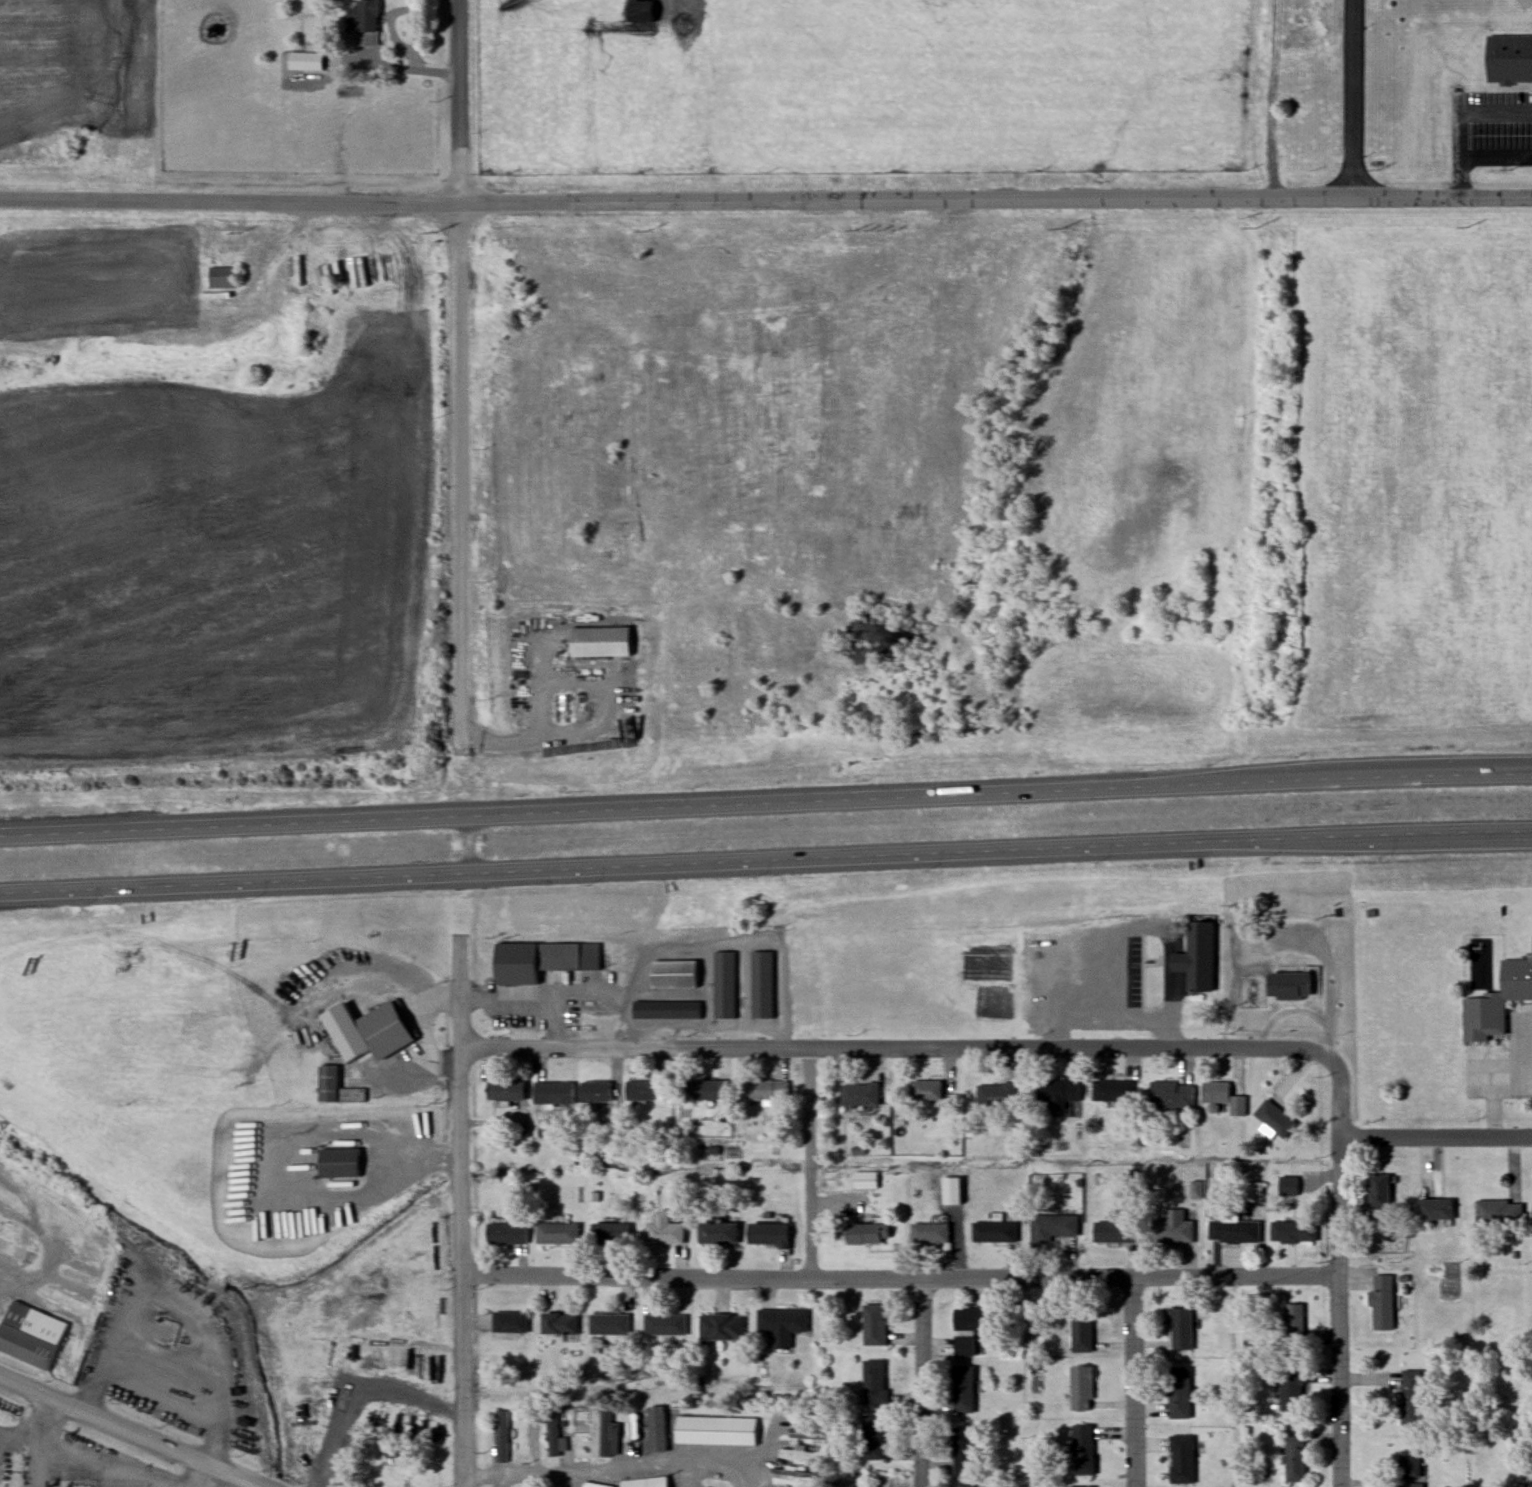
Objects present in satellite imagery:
building: (641, 12)
building: (364, 20)
building: (1510, 57)
building: (305, 61)
road: (401, 67)
crop: (78, 70)
road: (1462, 117)
parking lot: (1492, 127)
road: (1496, 155)
road: (995, 198)
road: (229, 200)
building: (222, 277)
road: (462, 377)
crop: (217, 555)
building: (600, 642)
road: (590, 722)
road: (766, 803)
road: (1368, 837)
road: (602, 872)
road: (1111, 930)
building: (1196, 957)
building: (542, 960)
building: (673, 974)
parking lot: (1087, 974)
road: (1331, 977)
building: (726, 985)
building: (762, 985)
building: (1288, 986)
building: (1497, 1002)
road: (487, 1003)
building: (667, 1009)
building: (375, 1037)
road: (891, 1049)
building: (925, 1088)
building: (506, 1089)
building: (708, 1089)
building: (640, 1090)
road: (1497, 1090)
building: (596, 1091)
building: (766, 1091)
building: (1113, 1091)
building: (553, 1092)
building: (860, 1093)
building: (1058, 1094)
building: (353, 1095)
building: (996, 1095)
building: (1171, 1095)
building: (1223, 1097)
building: (1274, 1118)
road: (1436, 1136)
road: (330, 1139)
road: (430, 1158)
building: (337, 1162)
road: (811, 1162)
building: (865, 1180)
building: (1288, 1186)
building: (952, 1191)
building: (1379, 1191)
building: (1435, 1209)
building: (1498, 1210)
road: (464, 1211)
building: (1056, 1225)
building: (1117, 1227)
building: (1173, 1228)
building: (664, 1231)
building: (1294, 1231)
building: (717, 1232)
building: (995, 1232)
building: (1234, 1232)
building: (768, 1233)
building: (931, 1233)
building: (508, 1234)
building: (558, 1234)
building: (610, 1234)
building: (868, 1234)
building: (11, 1250)
road: (56, 1250)
road: (1339, 1265)
road: (902, 1276)
building: (1383, 1302)
building: (510, 1322)
building: (1294, 1322)
building: (560, 1323)
building: (608, 1324)
building: (664, 1325)
building: (781, 1325)
building: (874, 1325)
building: (720, 1327)
building: (1181, 1329)
building: (968, 1330)
building: (1082, 1332)
building: (31, 1333)
road: (923, 1381)
road: (1134, 1381)
building: (875, 1382)
building: (1082, 1388)
building: (964, 1389)
building: (1291, 1391)
building: (1179, 1393)
building: (1412, 1397)
road: (132, 1430)
building: (716, 1430)
building: (553, 1434)
building: (502, 1436)
building: (875, 1436)
road: (45, 1442)
building: (1083, 1450)
building: (965, 1451)
building: (802, 1455)
road: (538, 1459)
building: (1182, 1459)
building: (1295, 1459)
road: (101, 1462)
building: (1411, 1464)
road: (616, 1471)
road: (208, 1475)
building: (794, 1475)
road: (698, 1477)
building: (647, 1482)
building: (593, 1484)
building: (705, 1486)
building: (964, 1486)
building: (1080, 1486)

